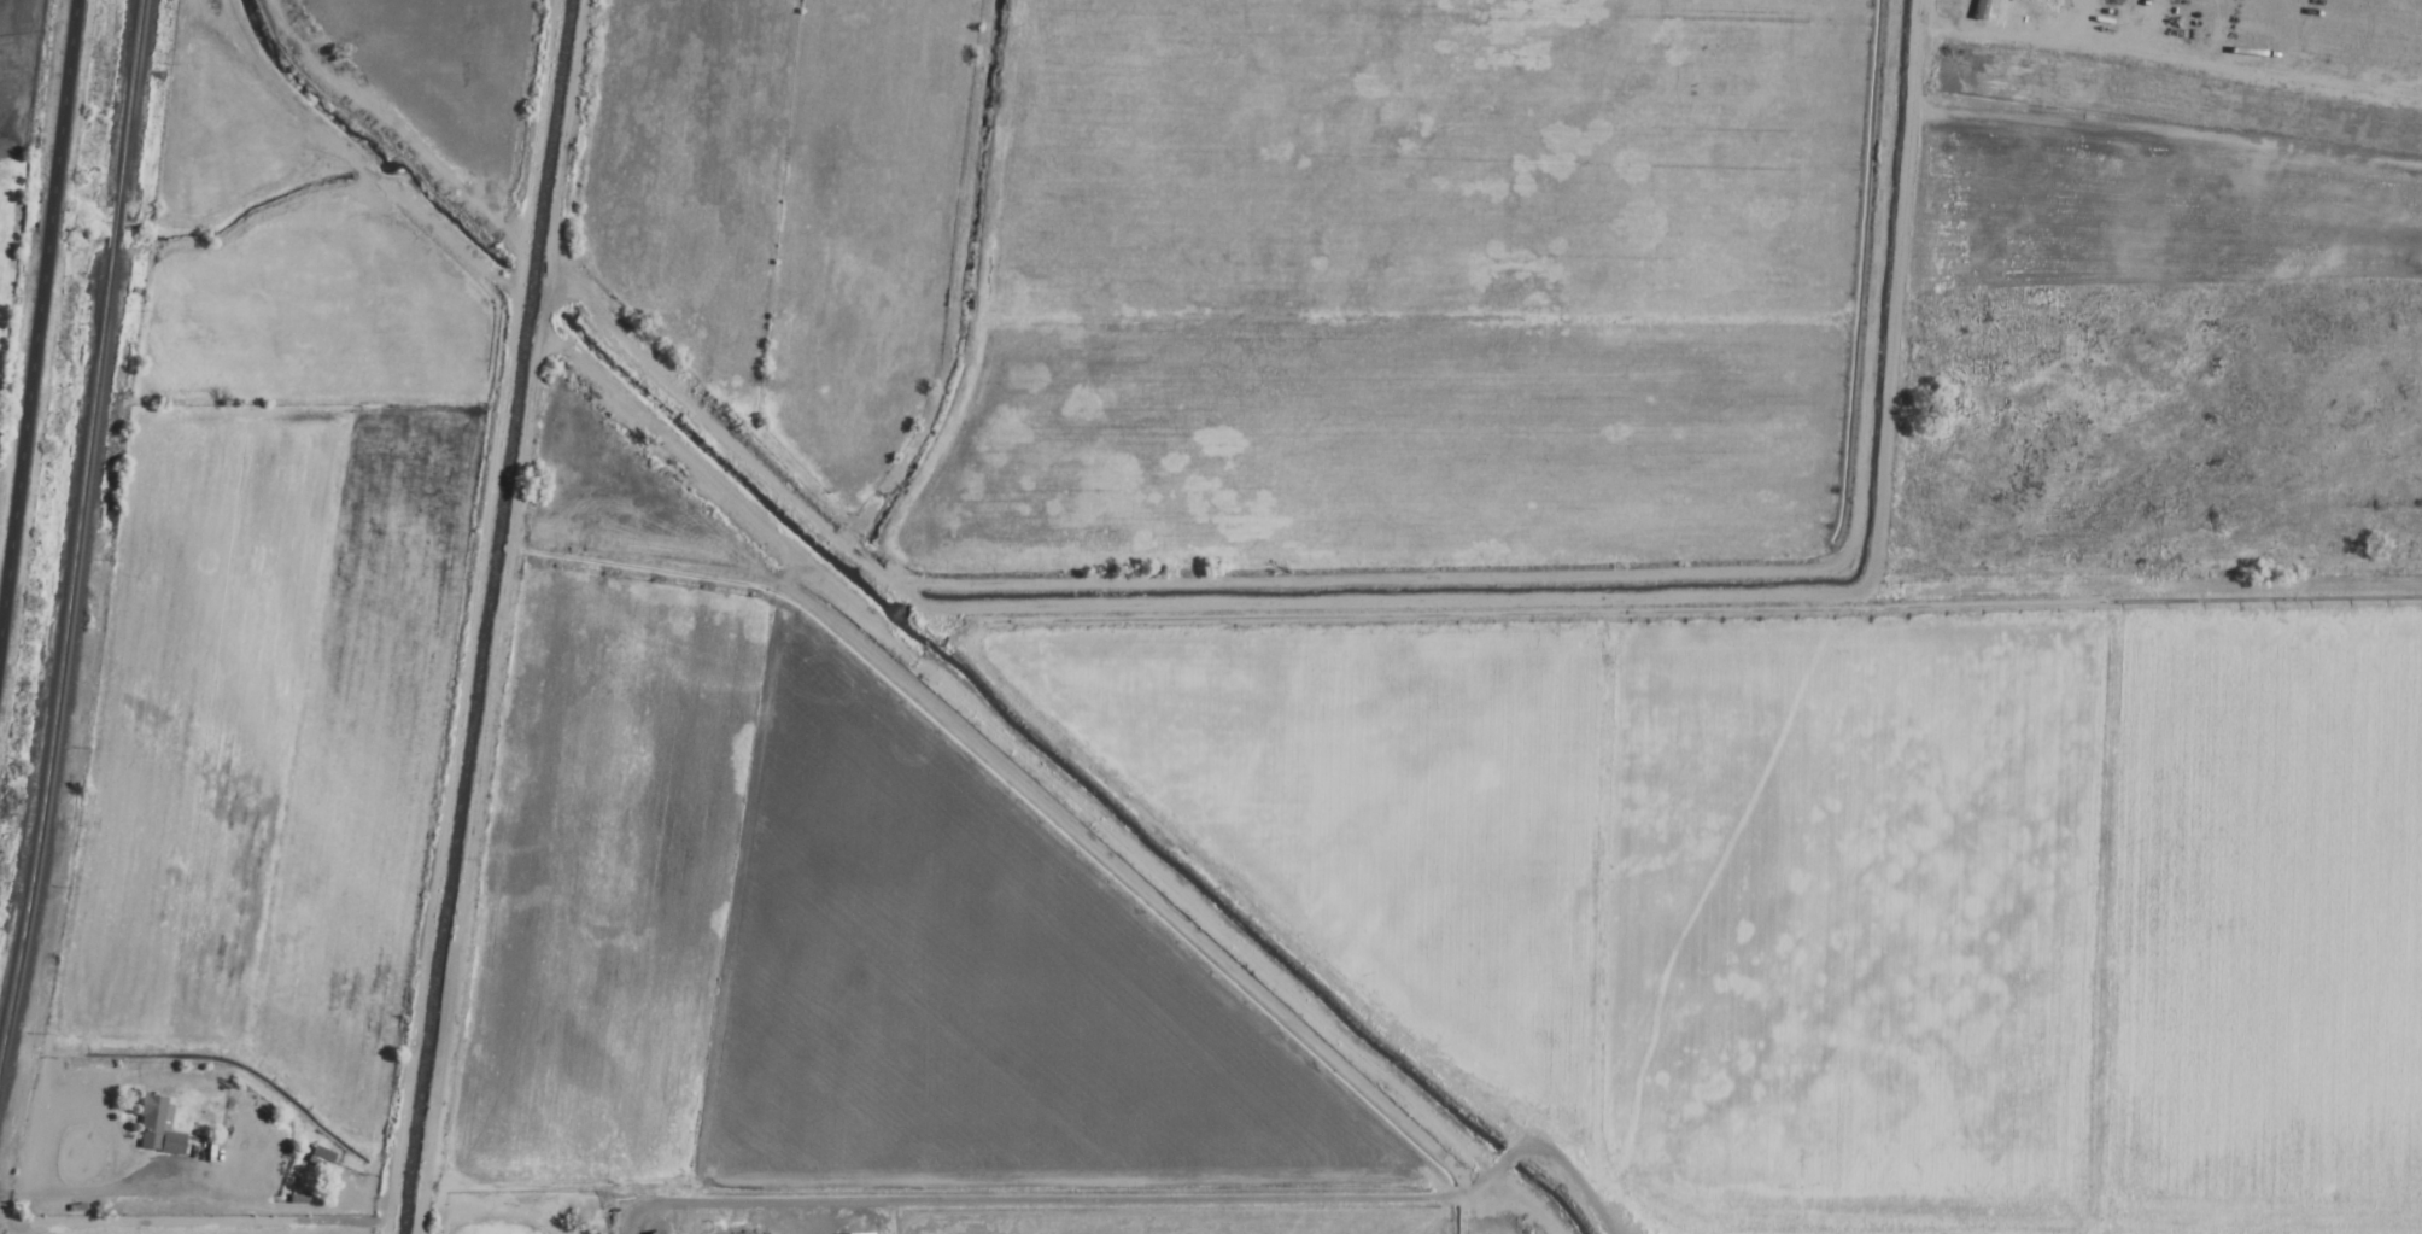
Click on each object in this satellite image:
railway: (125, 100)
railway: (111, 226)
road: (1903, 283)
road: (36, 302)
road: (1154, 603)
railway: (62, 650)
building: (154, 1127)
building: (316, 1158)
road: (1285, 1198)
road: (755, 1200)
building: (654, 1233)

